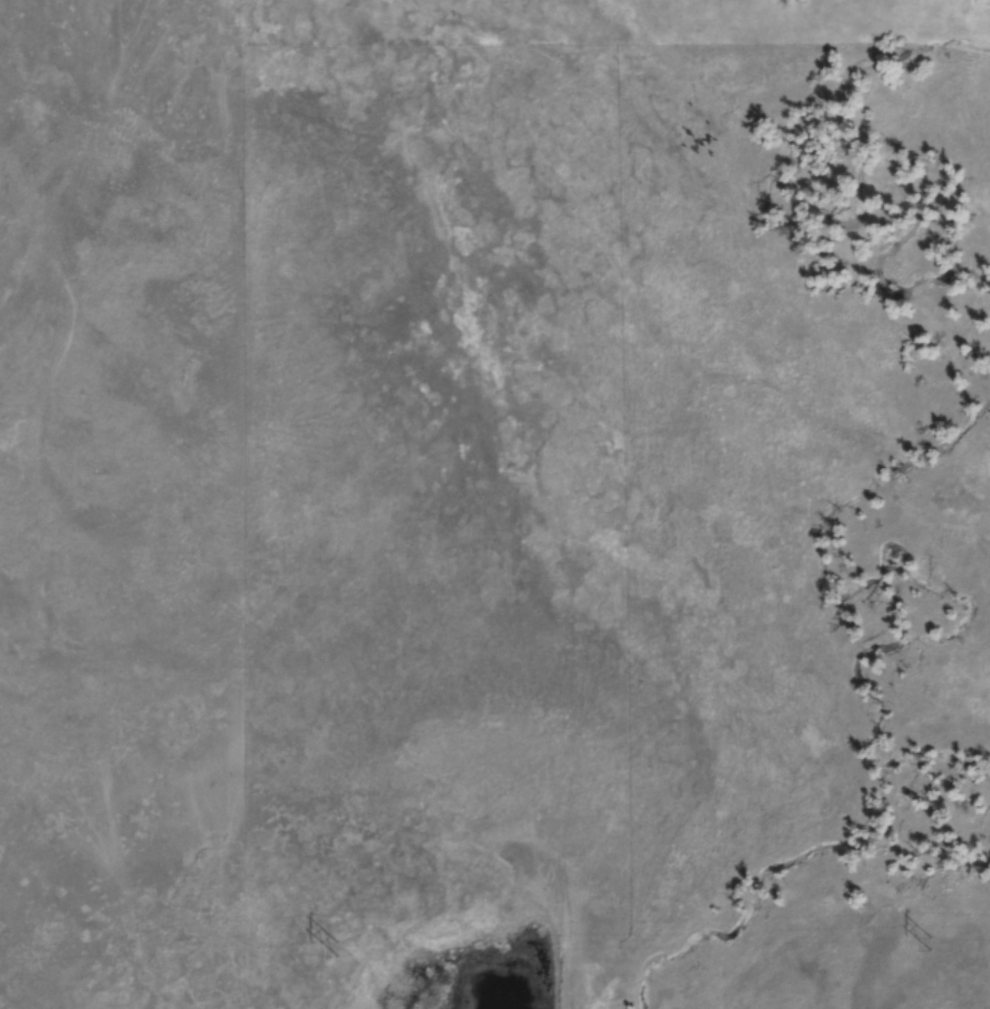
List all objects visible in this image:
power tower: (929, 942)
power tower: (334, 948)

